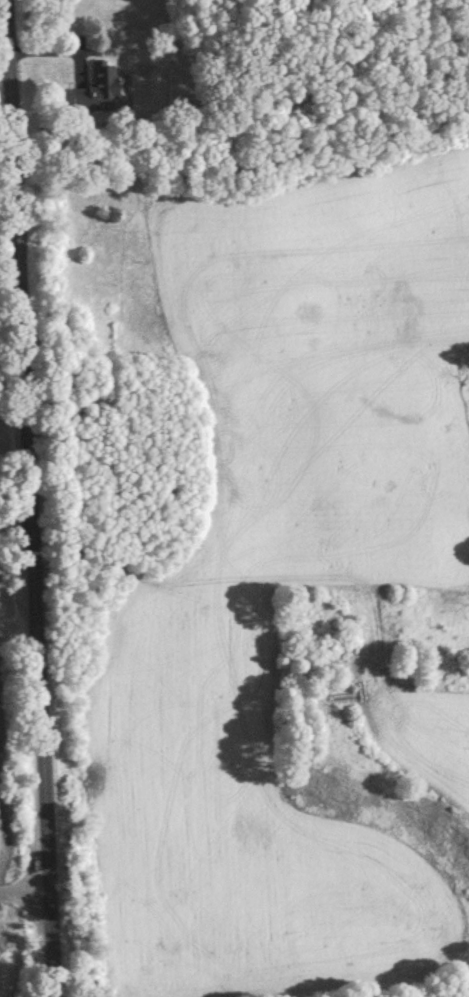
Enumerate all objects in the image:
building: (98, 92)
road: (38, 498)
road: (28, 894)

